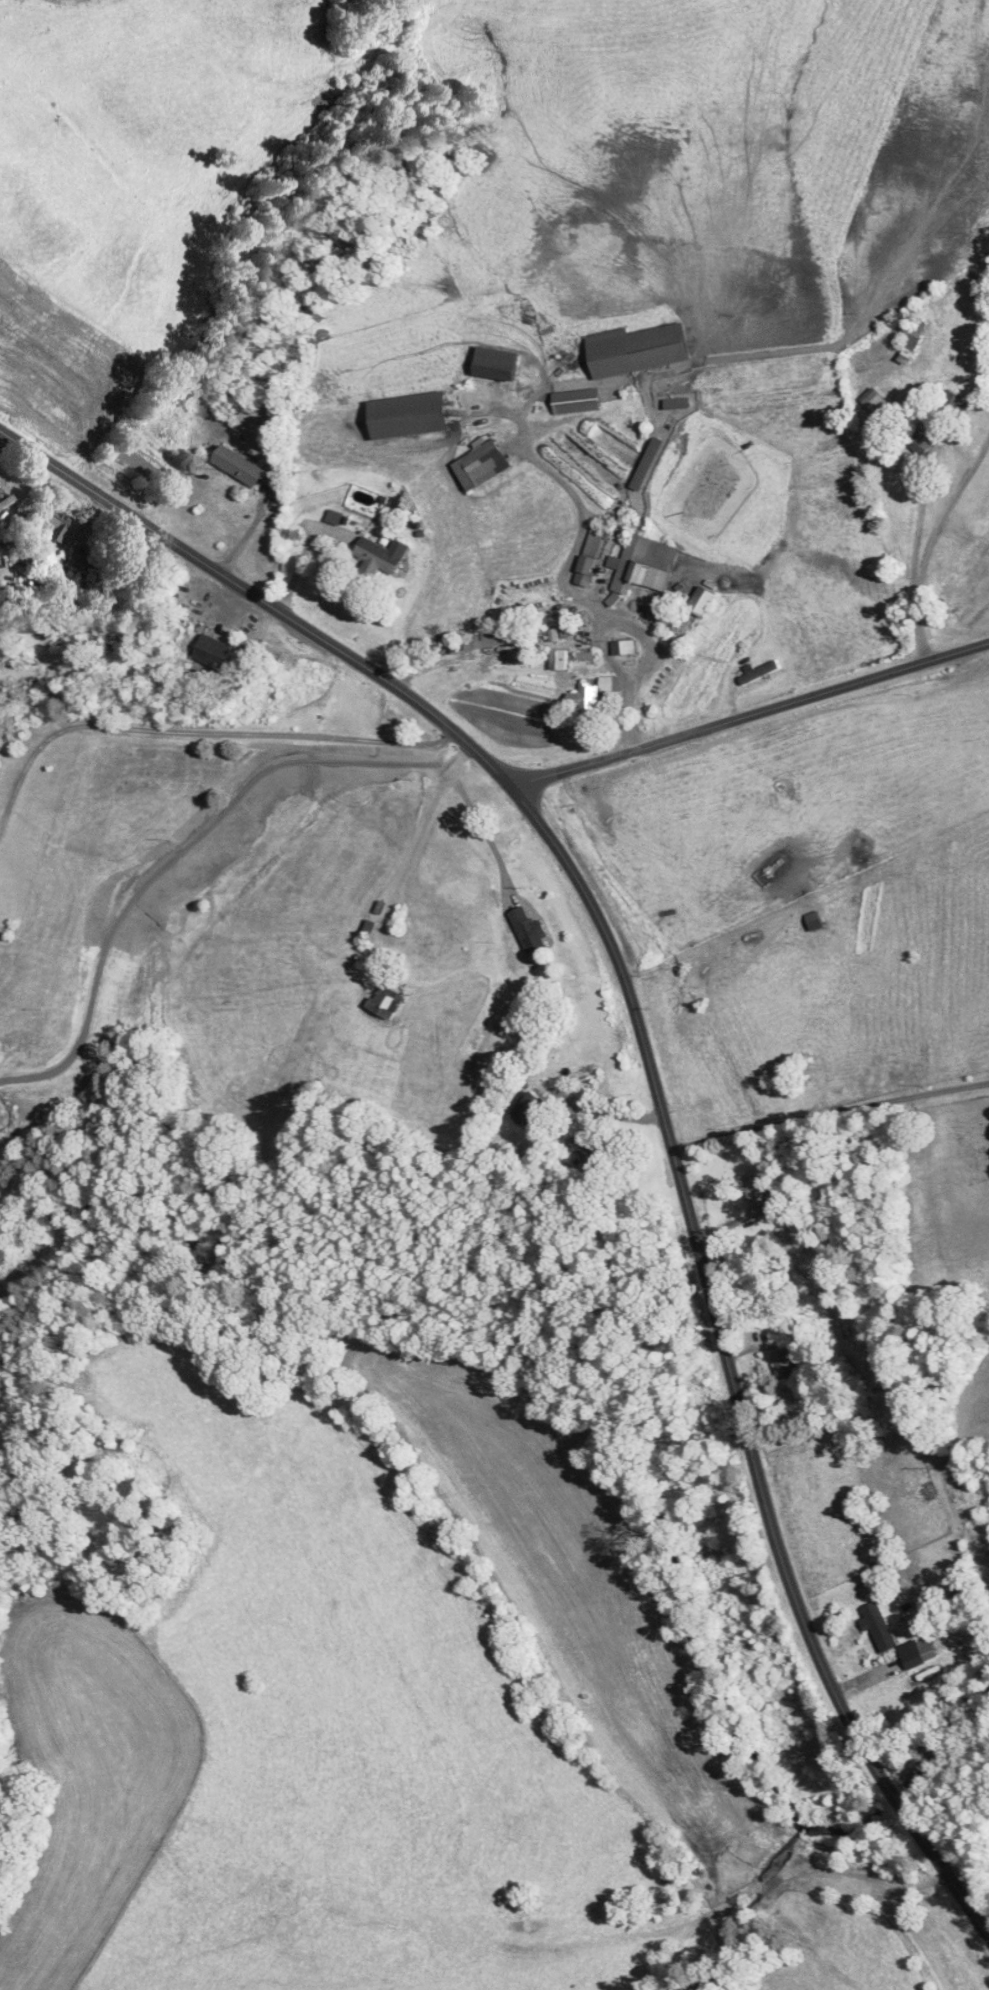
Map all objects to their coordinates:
building: (638, 349)
building: (498, 364)
building: (876, 399)
building: (578, 401)
building: (958, 410)
building: (413, 415)
building: (922, 444)
building: (483, 465)
building: (241, 466)
building: (55, 525)
road: (930, 544)
building: (592, 556)
building: (384, 557)
building: (644, 565)
road: (565, 583)
building: (705, 601)
building: (625, 648)
building: (216, 652)
building: (522, 656)
building: (759, 676)
building: (596, 695)
road: (750, 719)
road: (200, 730)
road: (475, 818)
road: (174, 849)
building: (817, 922)
building: (534, 931)
building: (432, 947)
building: (387, 1001)
road: (649, 1068)
building: (536, 1108)
road: (612, 1113)
road: (829, 1113)
building: (594, 1156)
building: (756, 1196)
building: (787, 1364)
building: (894, 1636)

